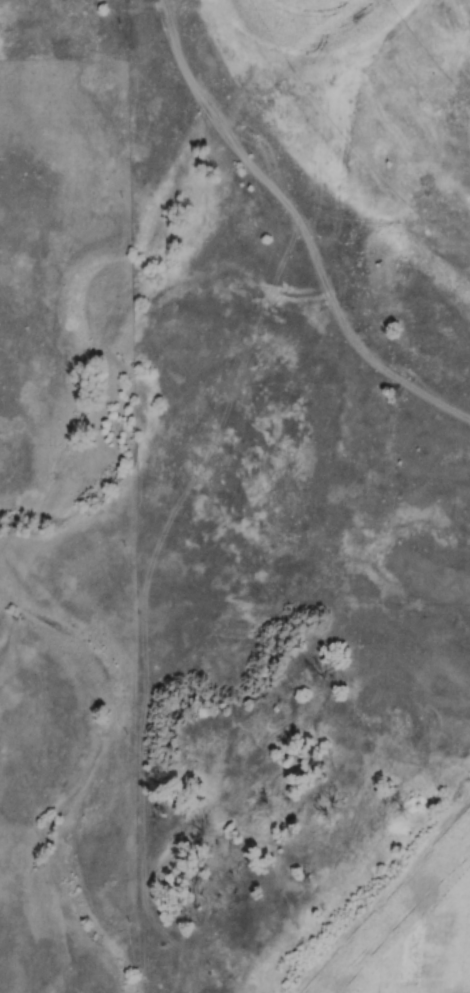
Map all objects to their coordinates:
crop: (285, 76)
crop: (409, 926)

